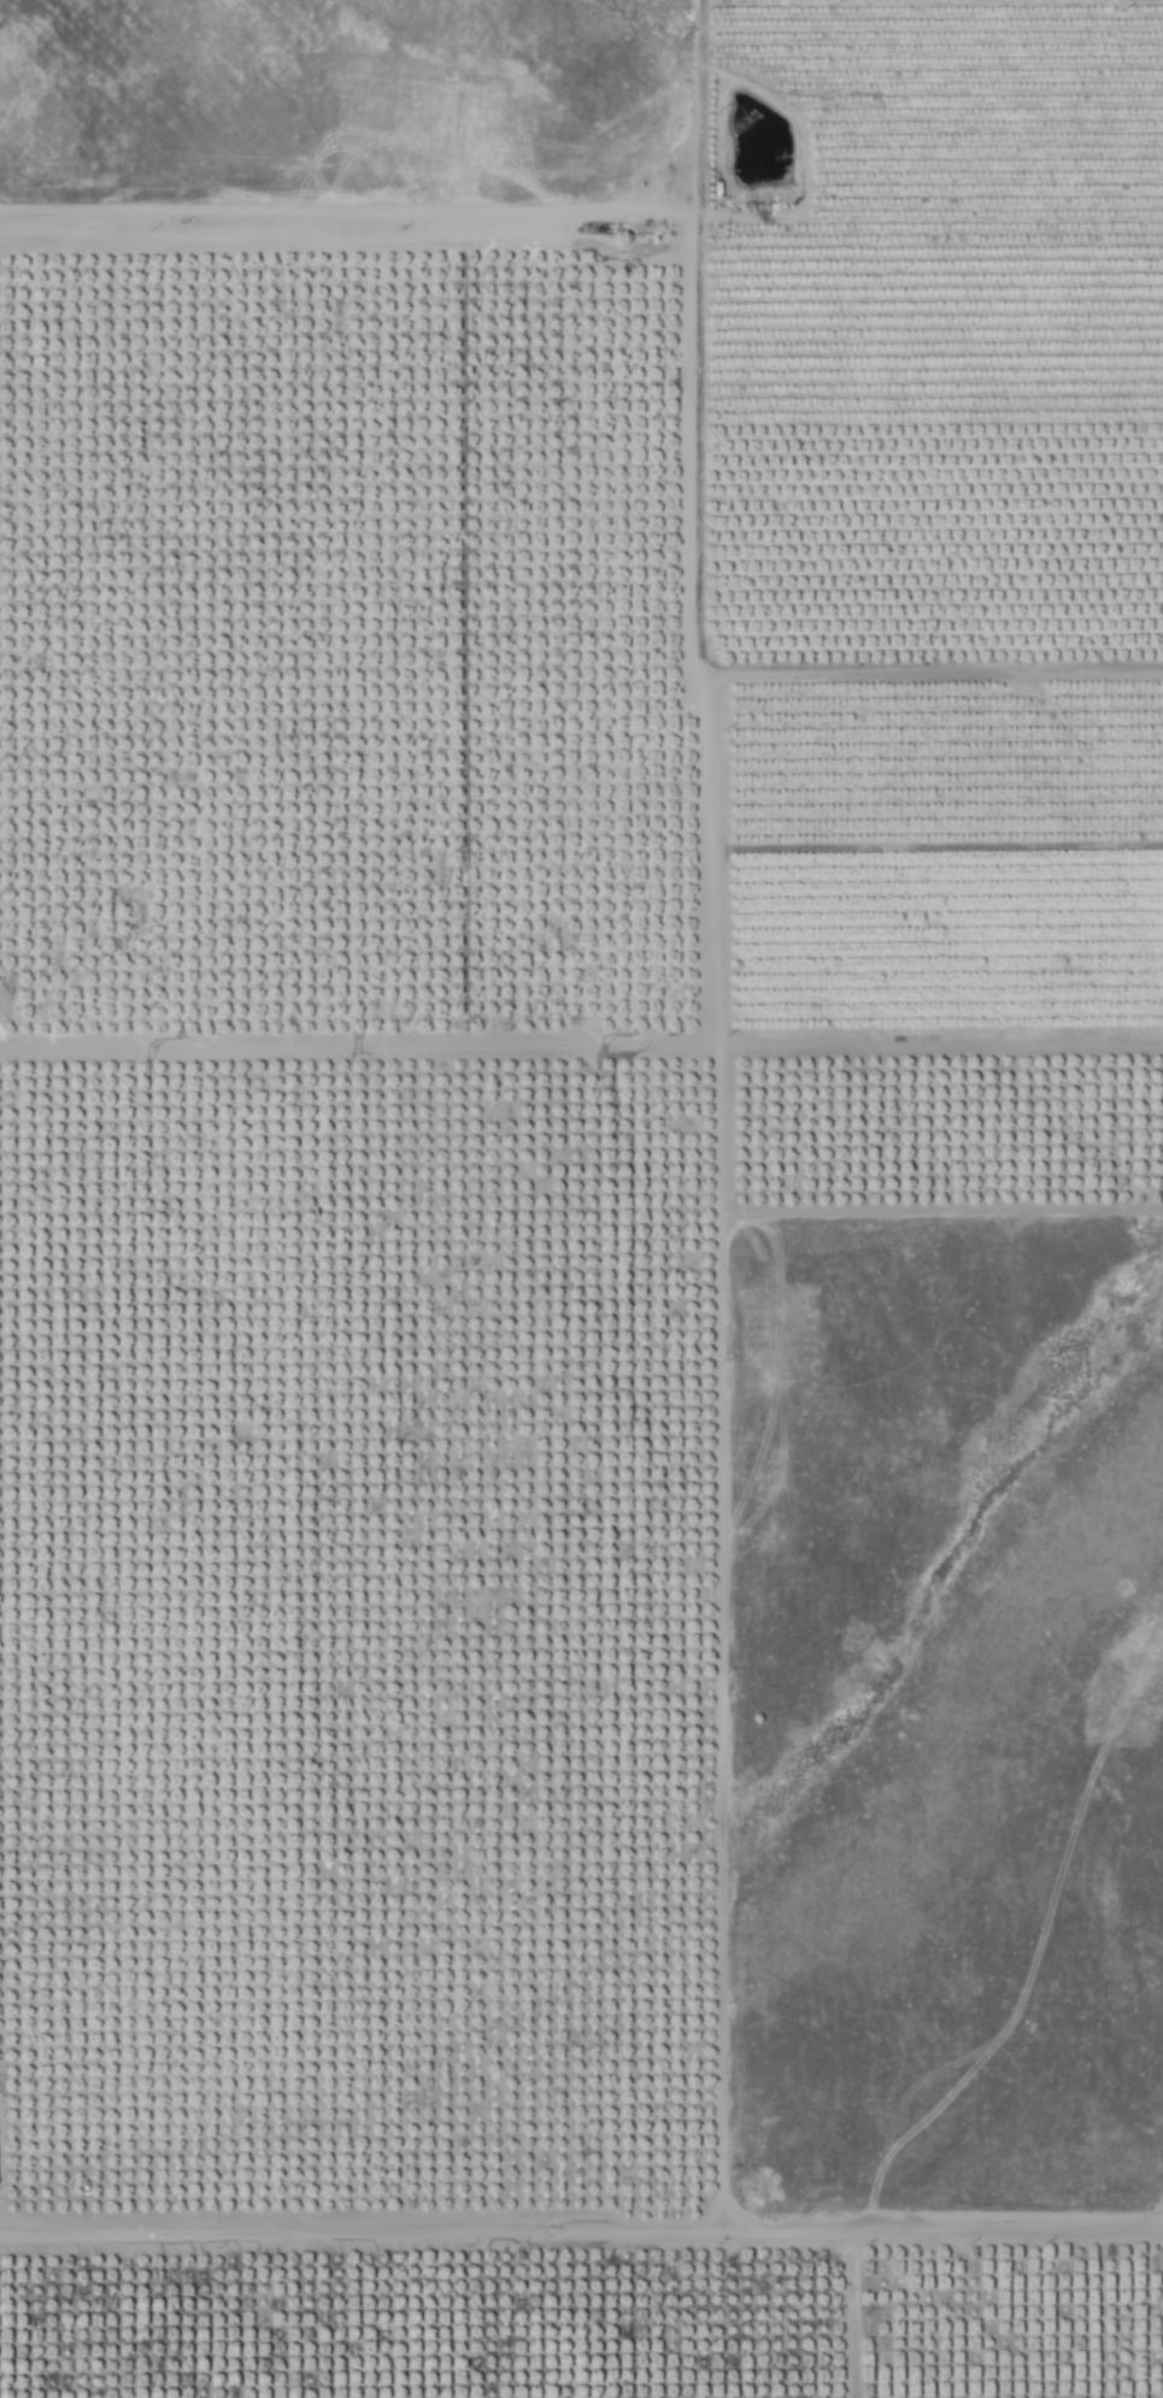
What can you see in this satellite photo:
road: (342, 255)
road: (706, 1078)

